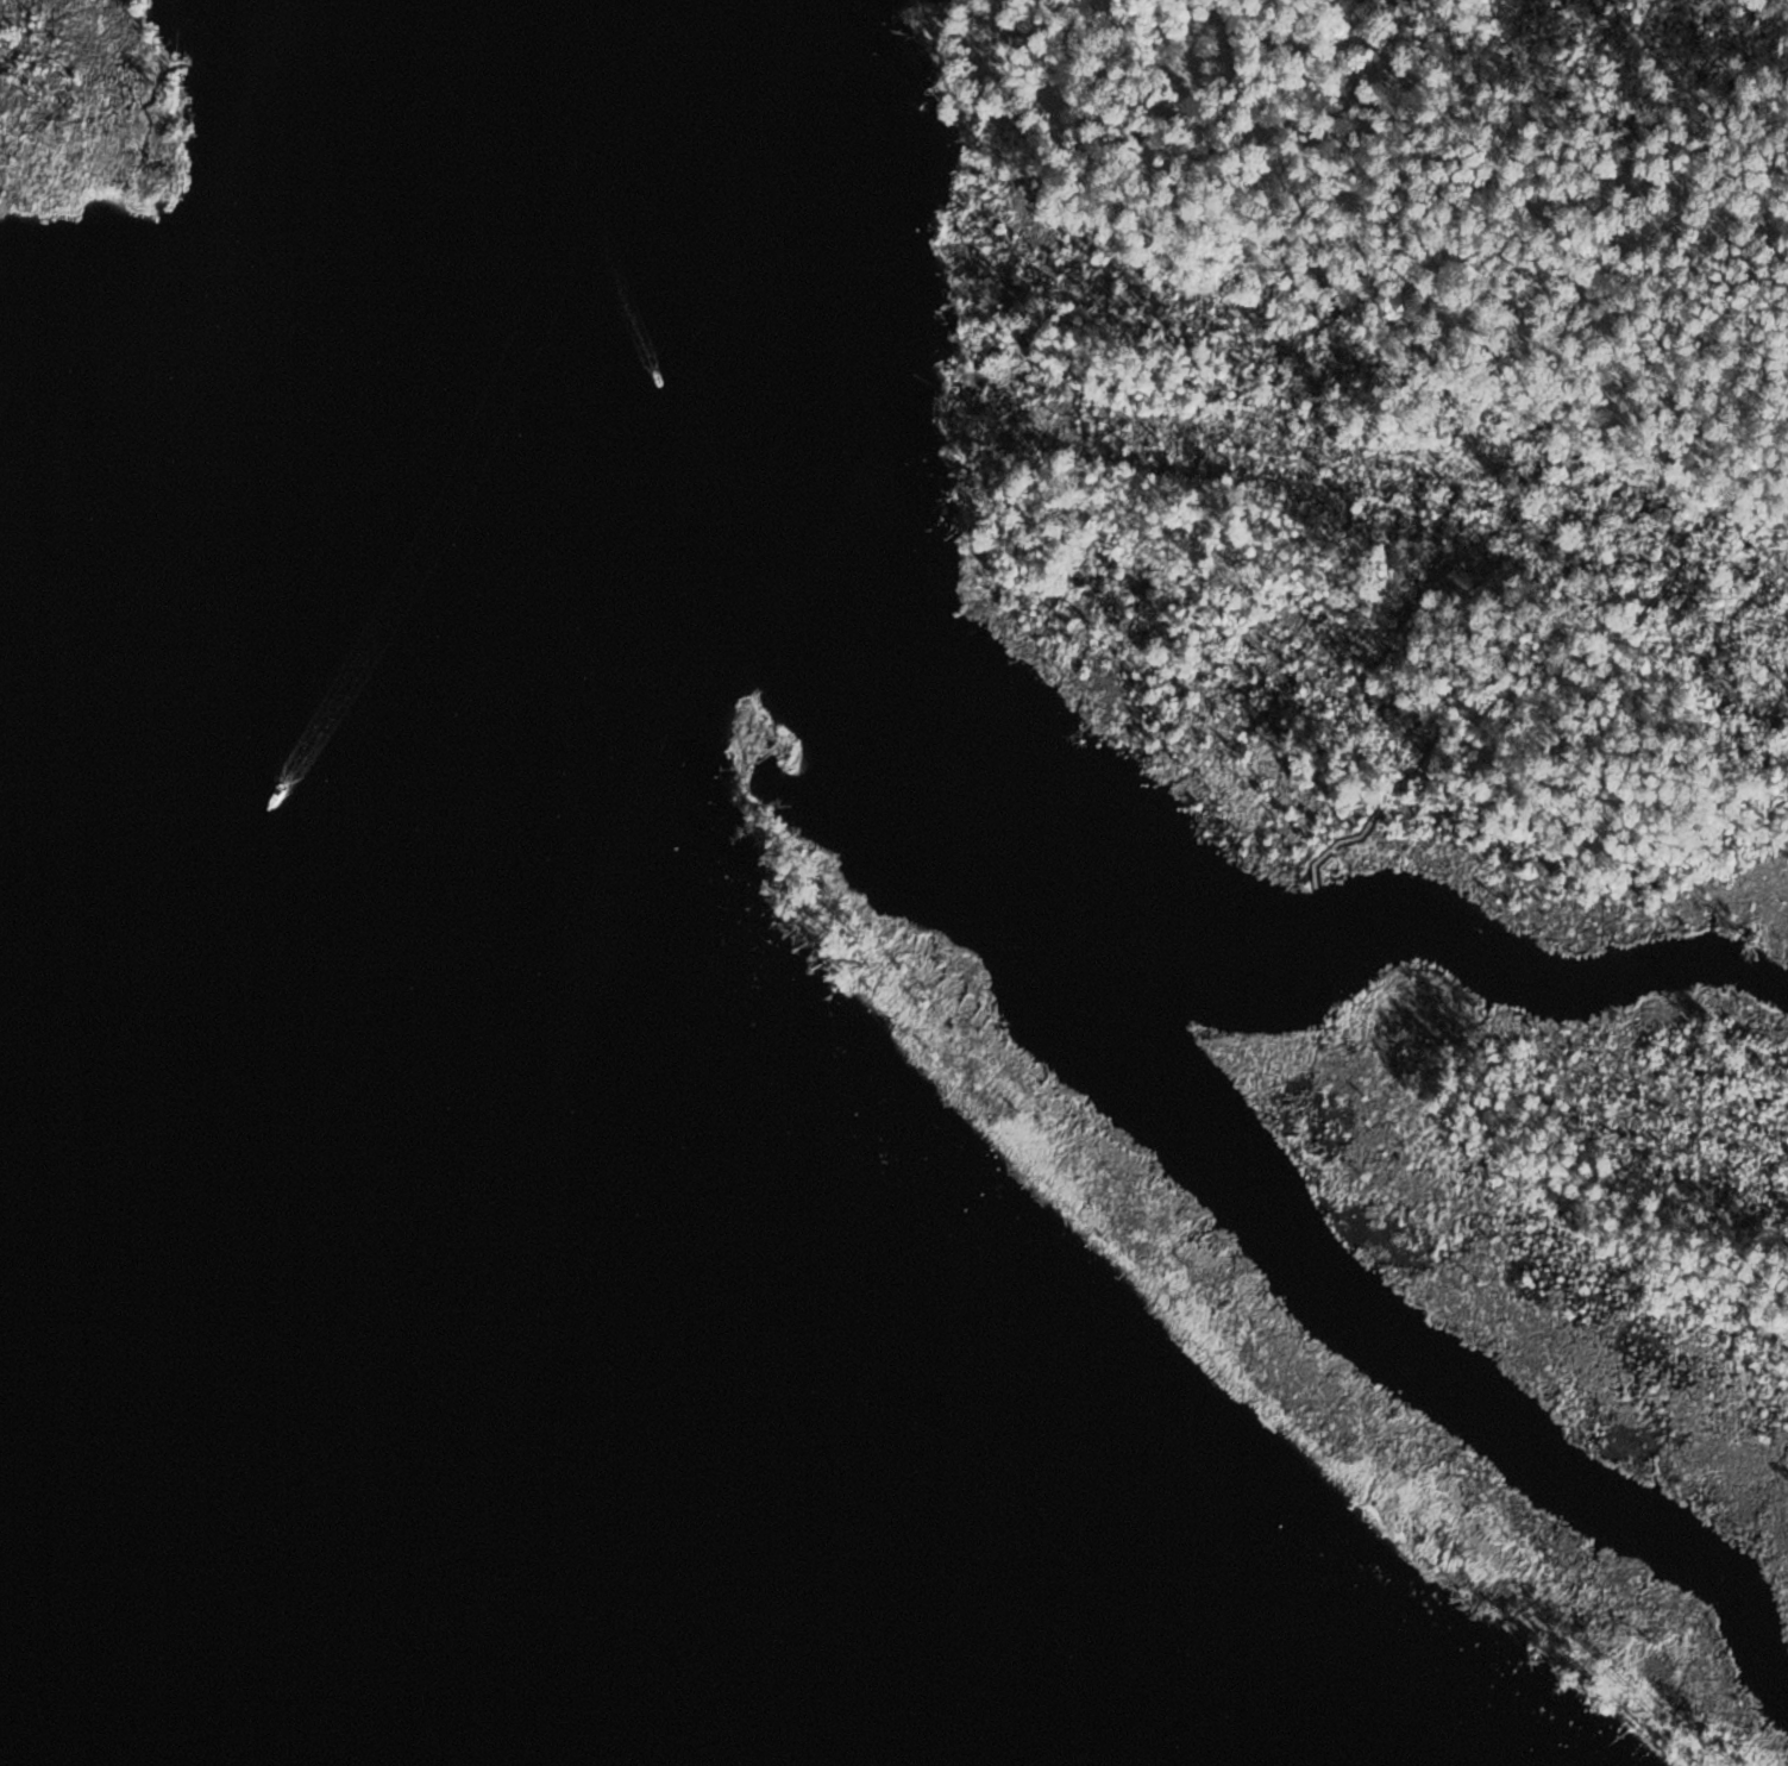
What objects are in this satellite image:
road: (1355, 46)
road: (1203, 118)
road: (1567, 221)
road: (1323, 243)

